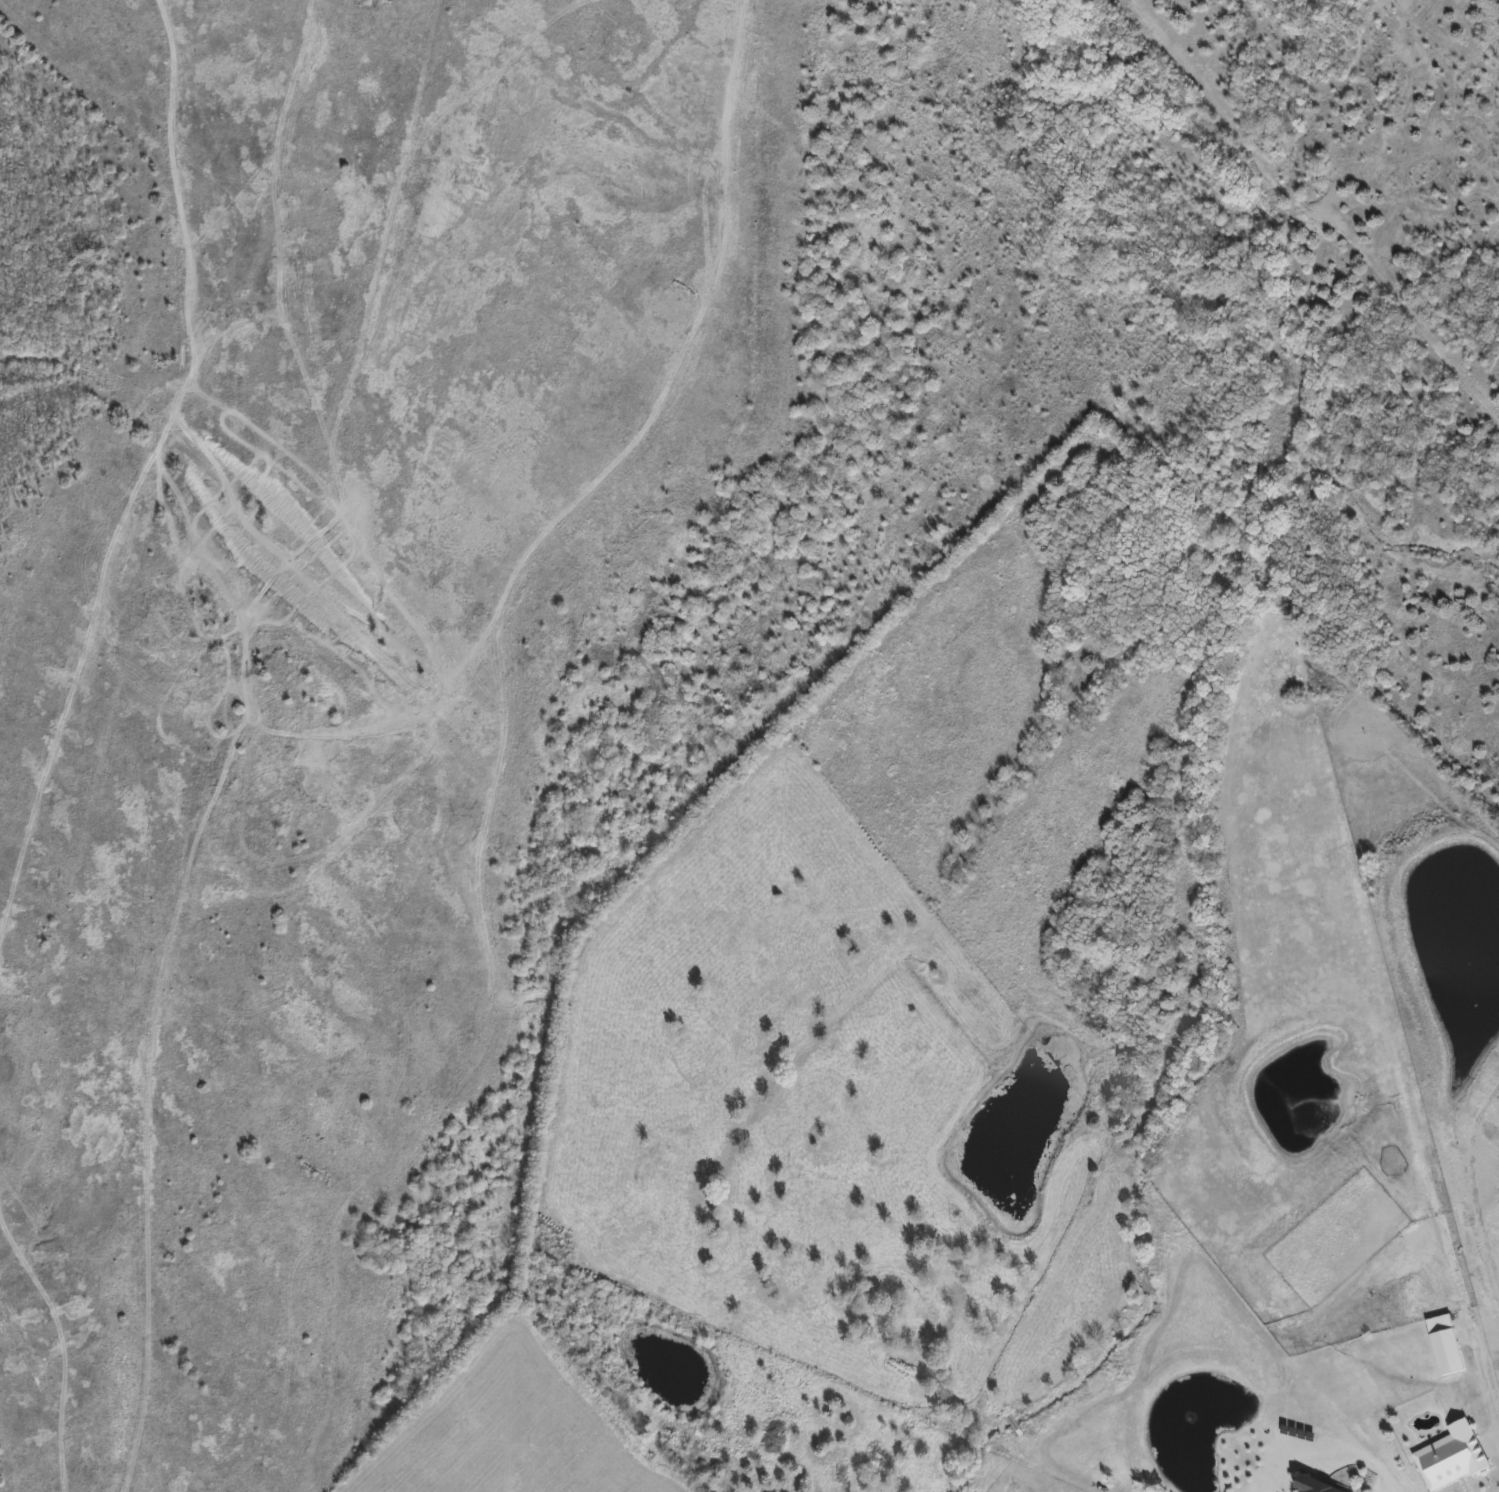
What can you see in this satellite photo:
building: (1446, 1349)
road: (1498, 1444)
building: (1452, 1458)

